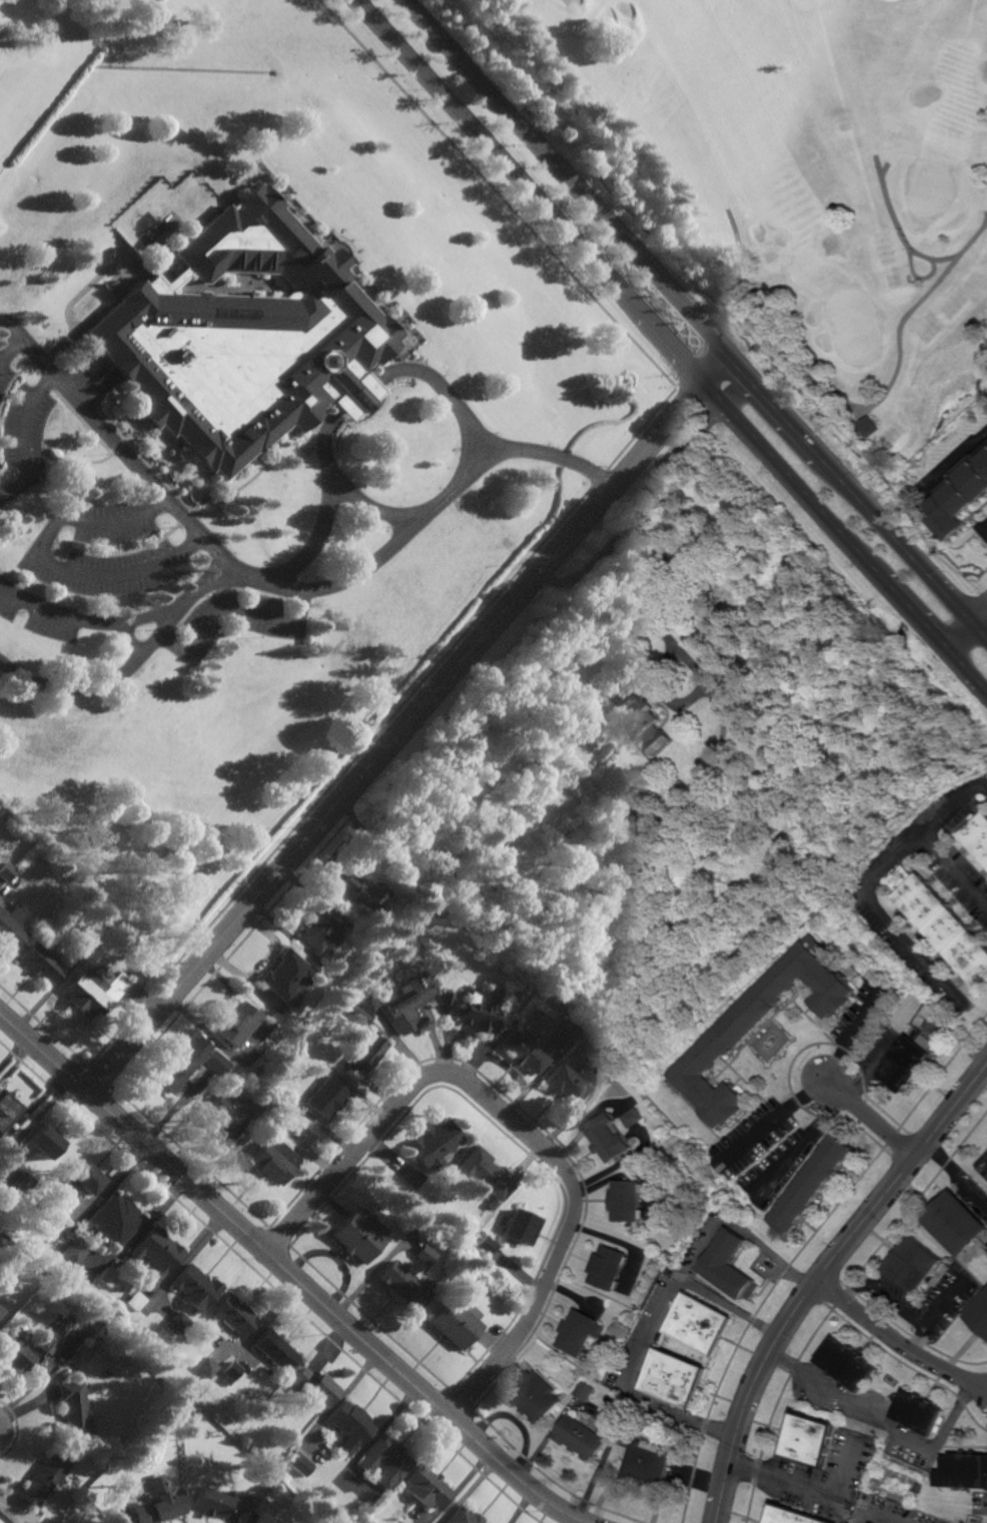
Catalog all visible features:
building: (595, 134)
park: (792, 177)
road: (496, 194)
road: (540, 203)
road: (906, 244)
road: (964, 248)
road: (694, 317)
building: (243, 338)
road: (10, 349)
road: (741, 394)
road: (839, 395)
road: (335, 409)
road: (641, 428)
building: (871, 429)
parking lot: (21, 431)
road: (23, 441)
building: (169, 451)
road: (958, 459)
road: (661, 480)
building: (962, 495)
road: (370, 511)
road: (986, 529)
road: (857, 547)
parking lot: (103, 549)
road: (47, 562)
road: (279, 586)
road: (627, 586)
road: (178, 603)
parking lot: (35, 613)
road: (230, 613)
road: (57, 618)
road: (965, 621)
parking lot: (231, 622)
road: (969, 640)
road: (128, 641)
road: (104, 681)
building: (643, 719)
road: (406, 722)
building: (620, 816)
road: (928, 836)
building: (979, 837)
building: (6, 872)
building: (360, 891)
road: (887, 917)
building: (943, 923)
building: (12, 927)
building: (320, 931)
building: (90, 941)
building: (40, 962)
building: (285, 974)
building: (94, 990)
building: (509, 998)
building: (445, 999)
building: (403, 1002)
building: (478, 1007)
building: (358, 1012)
building: (237, 1023)
building: (761, 1025)
road: (857, 1033)
building: (581, 1041)
building: (554, 1043)
building: (365, 1051)
building: (523, 1051)
building: (911, 1060)
building: (215, 1062)
building: (183, 1063)
road: (872, 1078)
building: (562, 1083)
building: (325, 1096)
building: (7, 1108)
building: (220, 1117)
building: (634, 1117)
road: (776, 1119)
road: (876, 1120)
road: (519, 1128)
road: (279, 1129)
building: (611, 1137)
building: (42, 1141)
building: (433, 1143)
road: (807, 1143)
road: (225, 1149)
building: (271, 1160)
building: (481, 1174)
road: (959, 1174)
building: (81, 1177)
building: (411, 1177)
building: (20, 1184)
building: (815, 1184)
building: (629, 1200)
building: (111, 1220)
building: (961, 1222)
building: (519, 1226)
building: (59, 1227)
building: (358, 1235)
road: (754, 1236)
building: (1, 1241)
building: (484, 1246)
building: (73, 1250)
building: (154, 1251)
building: (424, 1254)
building: (920, 1265)
building: (733, 1266)
building: (610, 1267)
road: (288, 1274)
building: (107, 1277)
road: (822, 1280)
building: (405, 1285)
building: (194, 1288)
building: (134, 1301)
building: (1, 1311)
road: (910, 1314)
building: (233, 1315)
building: (981, 1315)
building: (93, 1317)
building: (455, 1322)
building: (178, 1323)
building: (704, 1324)
building: (581, 1333)
road: (652, 1337)
road: (900, 1342)
building: (43, 1347)
building: (275, 1350)
building: (853, 1365)
building: (207, 1368)
building: (230, 1372)
building: (679, 1379)
building: (315, 1387)
building: (589, 1392)
building: (539, 1398)
building: (622, 1410)
building: (73, 1411)
building: (924, 1415)
road: (519, 1421)
road: (886, 1424)
building: (350, 1426)
road: (4, 1429)
building: (584, 1439)
building: (816, 1442)
building: (385, 1461)
building: (300, 1464)
building: (651, 1464)
road: (848, 1469)
building: (964, 1472)
building: (261, 1475)
building: (46, 1478)
building: (275, 1482)
building: (427, 1488)
road: (799, 1488)
building: (921, 1490)
building: (221, 1502)
building: (159, 1509)
road: (879, 1514)
building: (795, 1516)
building: (463, 1517)
building: (97, 1522)

